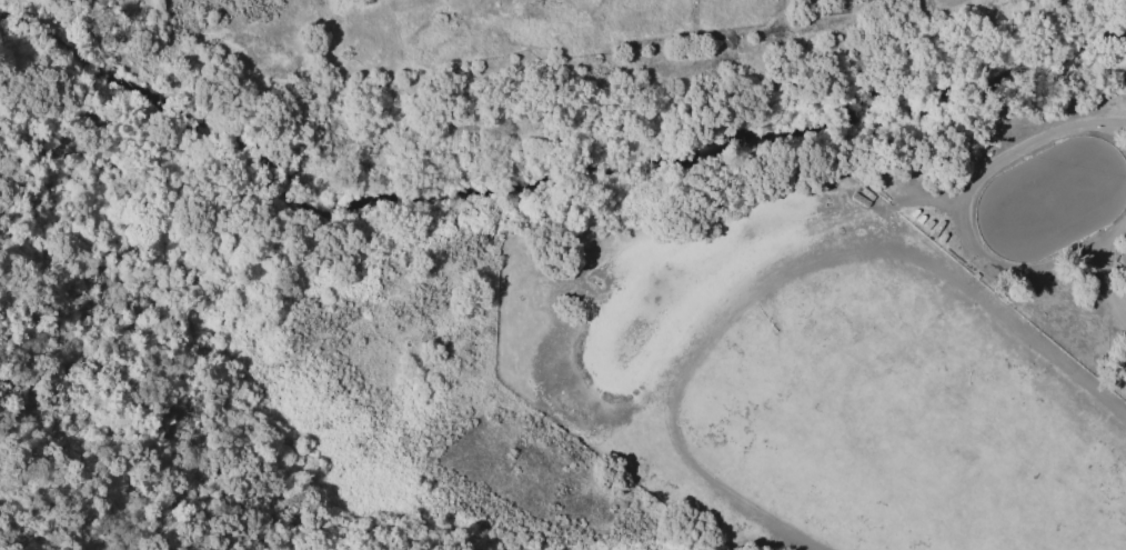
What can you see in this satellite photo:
building: (876, 3)
road: (1006, 153)
park: (1049, 199)
park: (1120, 258)
building: (1089, 269)
park: (1120, 360)

